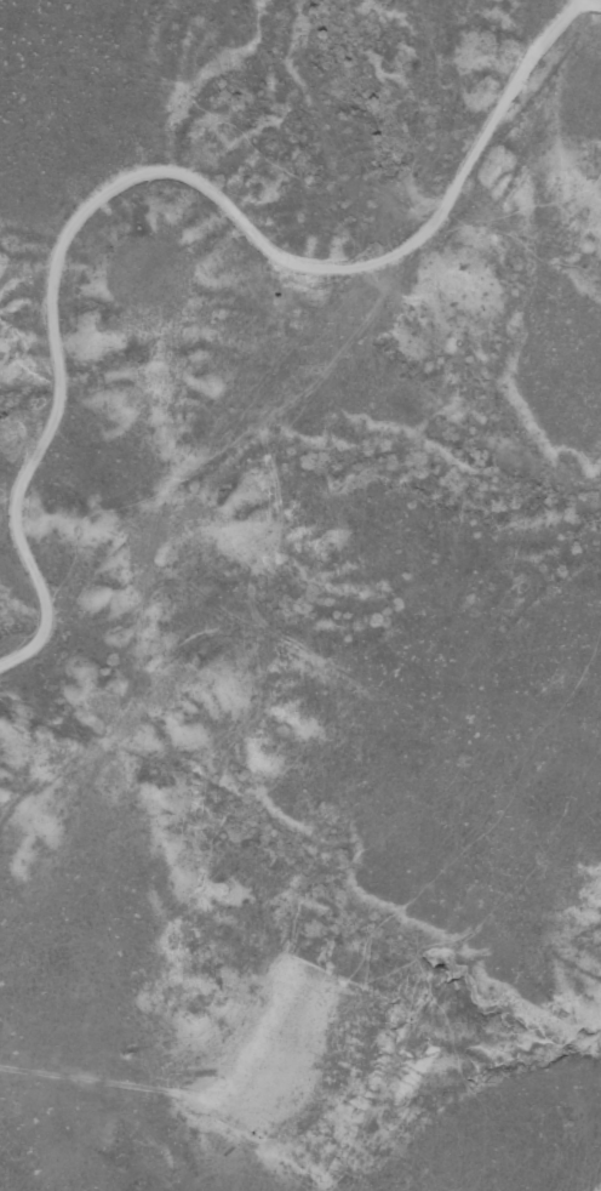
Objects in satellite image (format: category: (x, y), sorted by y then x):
road: (207, 177)

